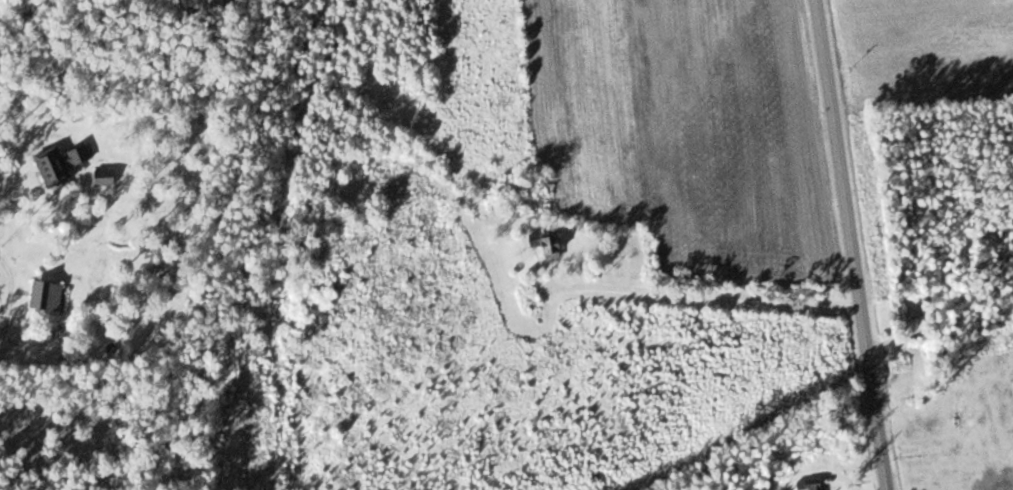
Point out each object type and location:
building: (66, 164)
building: (109, 178)
building: (541, 244)
road: (852, 244)
building: (52, 297)
building: (896, 312)
building: (815, 485)

